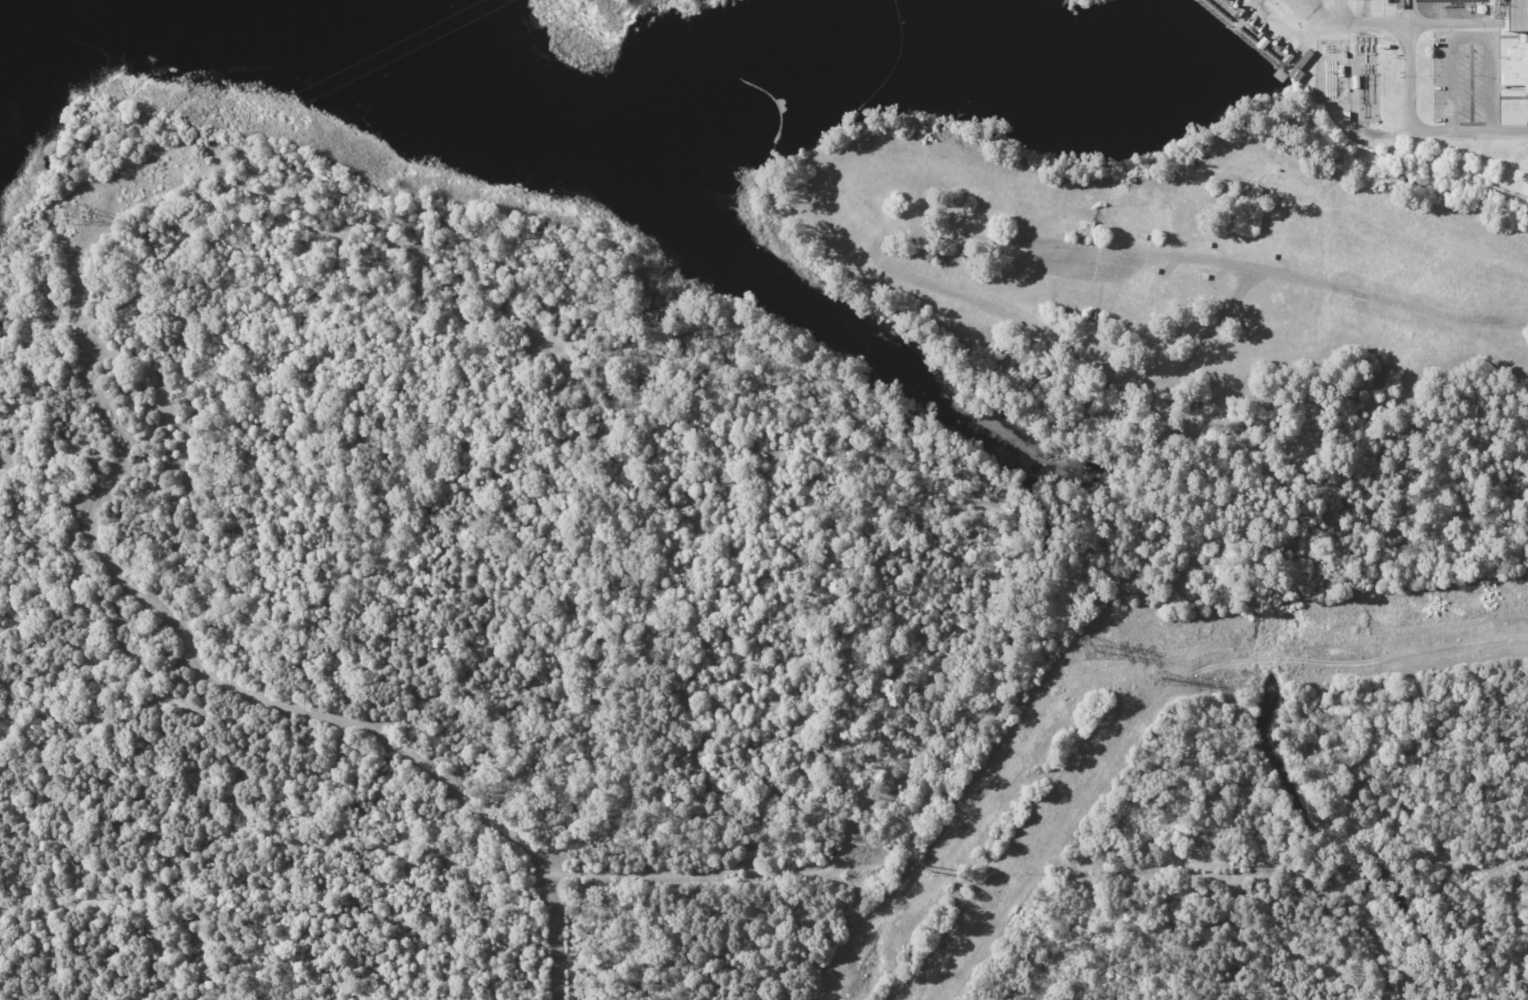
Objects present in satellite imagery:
road: (1317, 17)
road: (1405, 24)
building: (1300, 65)
building: (1516, 67)
power plant: (1410, 70)
road: (1410, 123)
power tower: (74, 215)
road: (1036, 237)
road: (1396, 306)
road: (969, 624)
power tower: (1086, 647)
power tower: (1156, 681)
road: (118, 911)
road: (499, 947)

